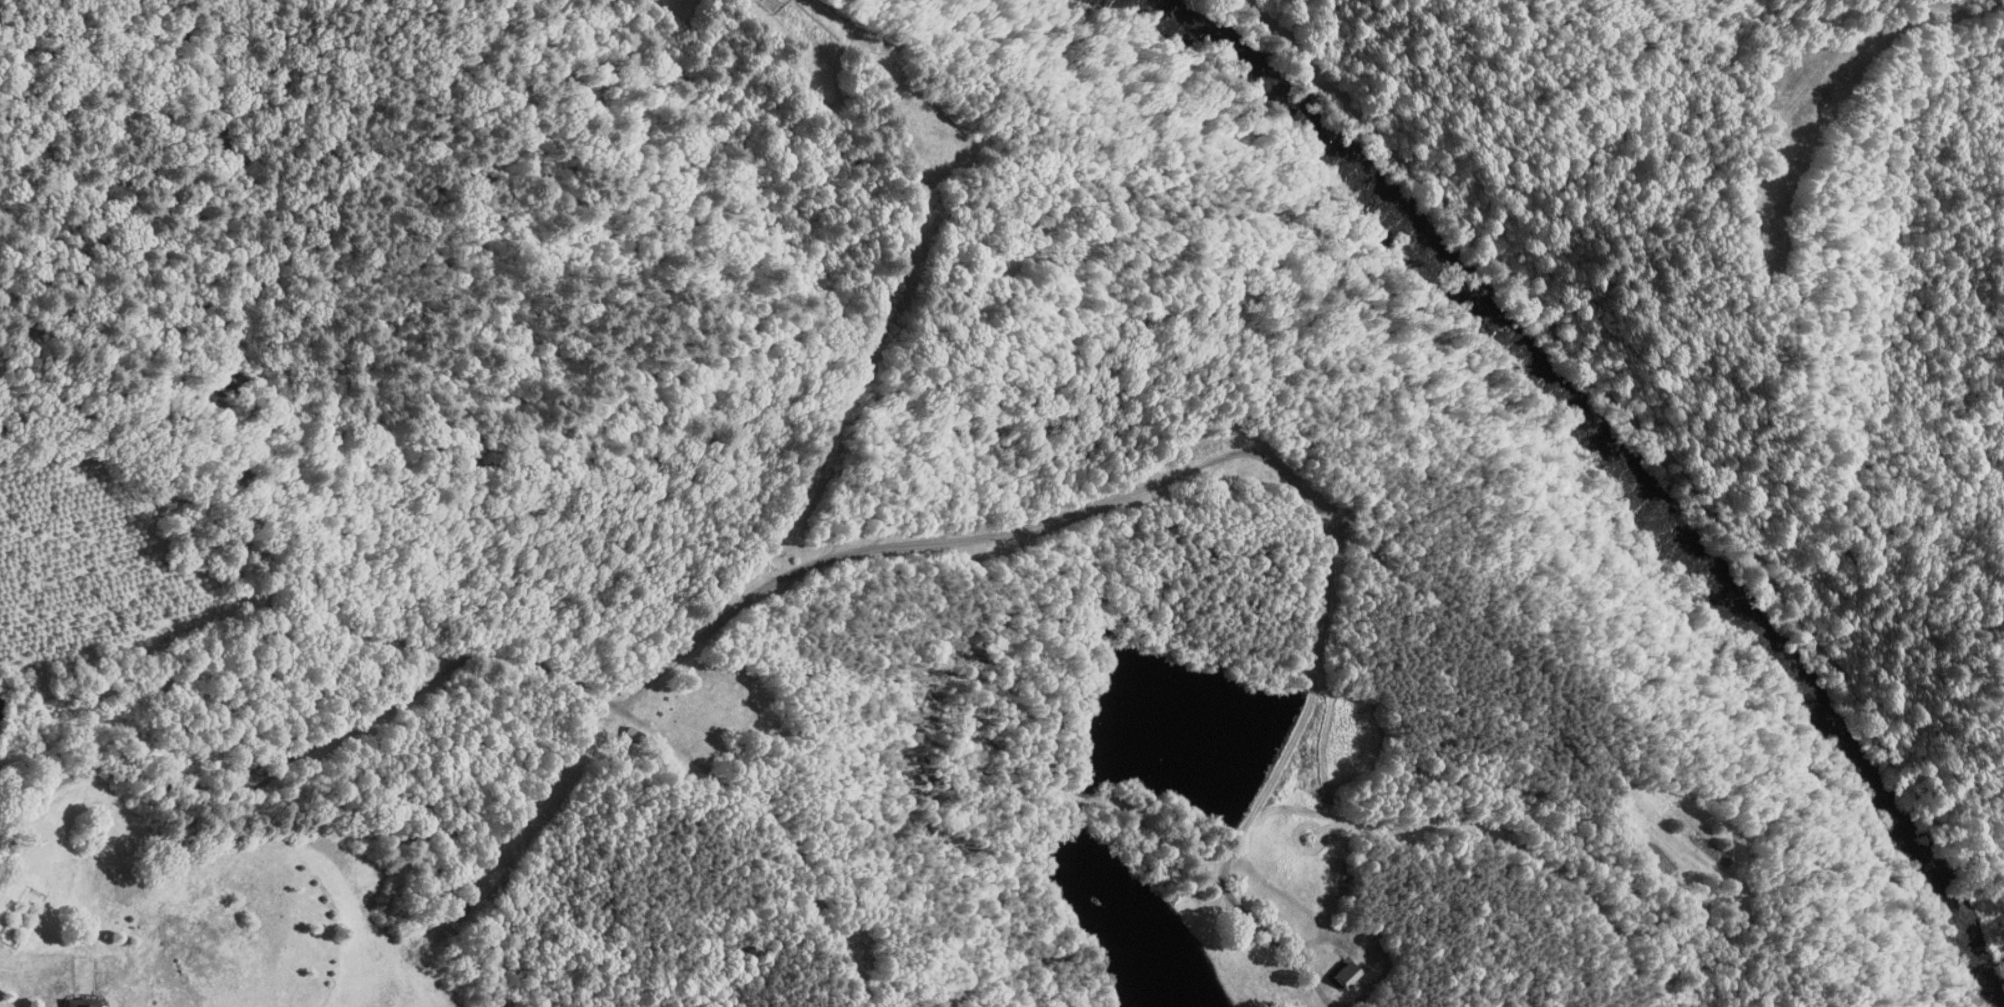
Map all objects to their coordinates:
river: (1600, 449)
road: (757, 589)
building: (1331, 968)
building: (71, 999)

